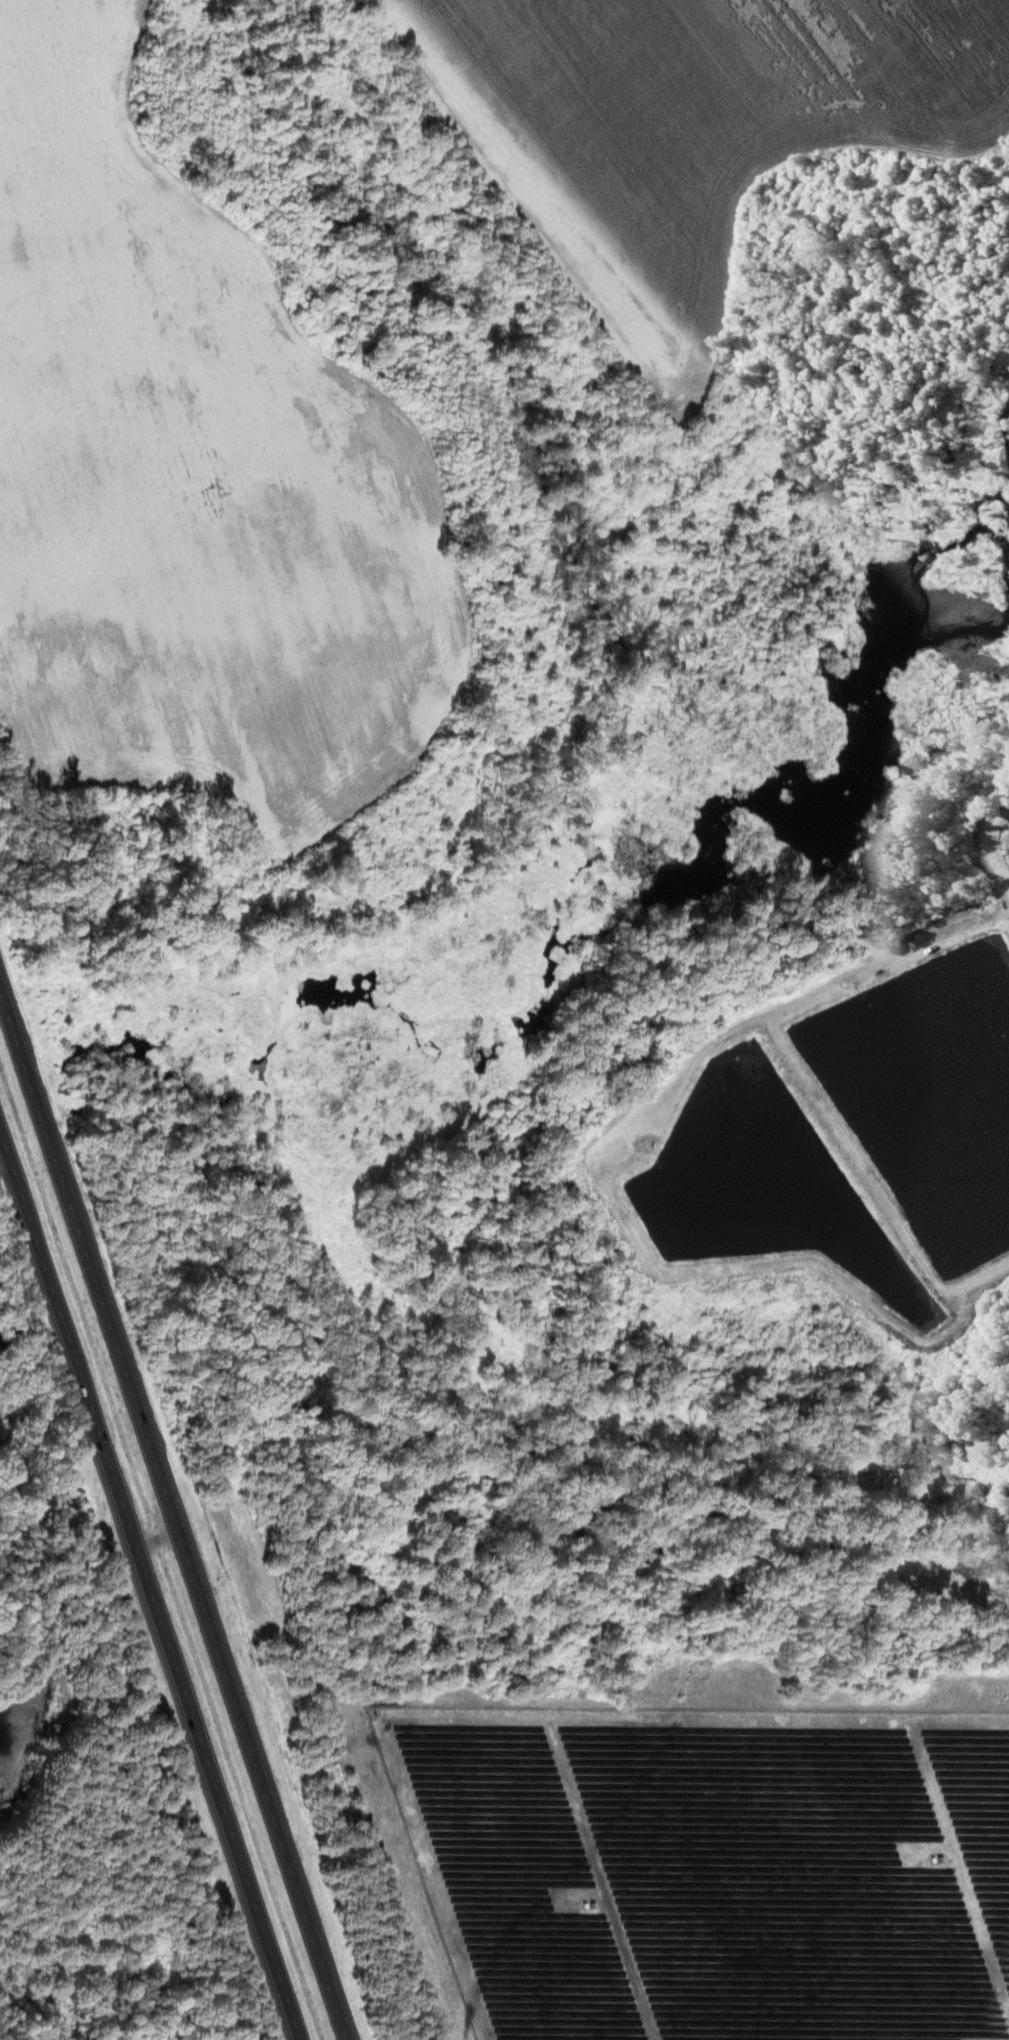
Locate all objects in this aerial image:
building: (1007, 836)
road: (174, 1516)
road: (150, 1582)
solar farm: (713, 1869)

